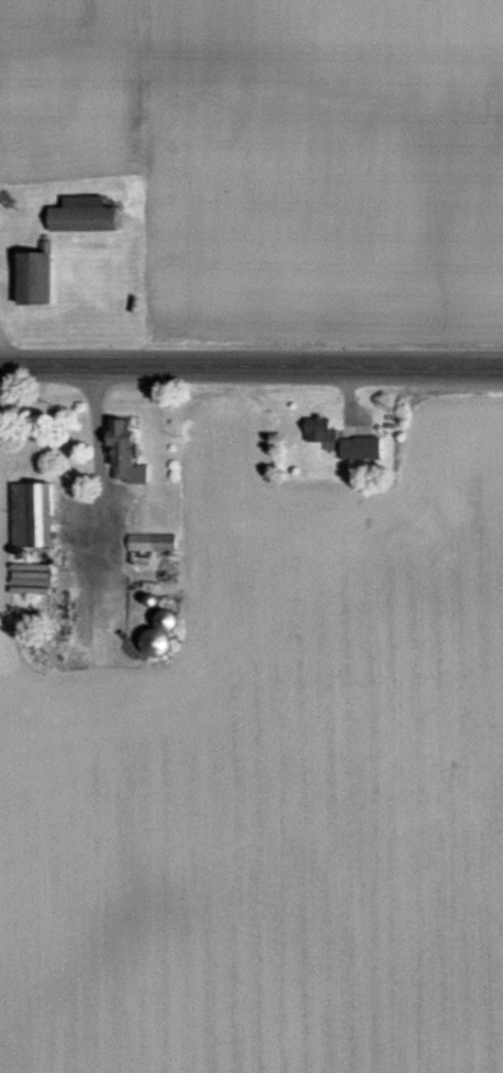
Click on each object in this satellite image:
building: (79, 218)
building: (30, 281)
road: (251, 370)
building: (315, 432)
building: (356, 451)
building: (119, 457)
building: (26, 518)
building: (149, 645)

